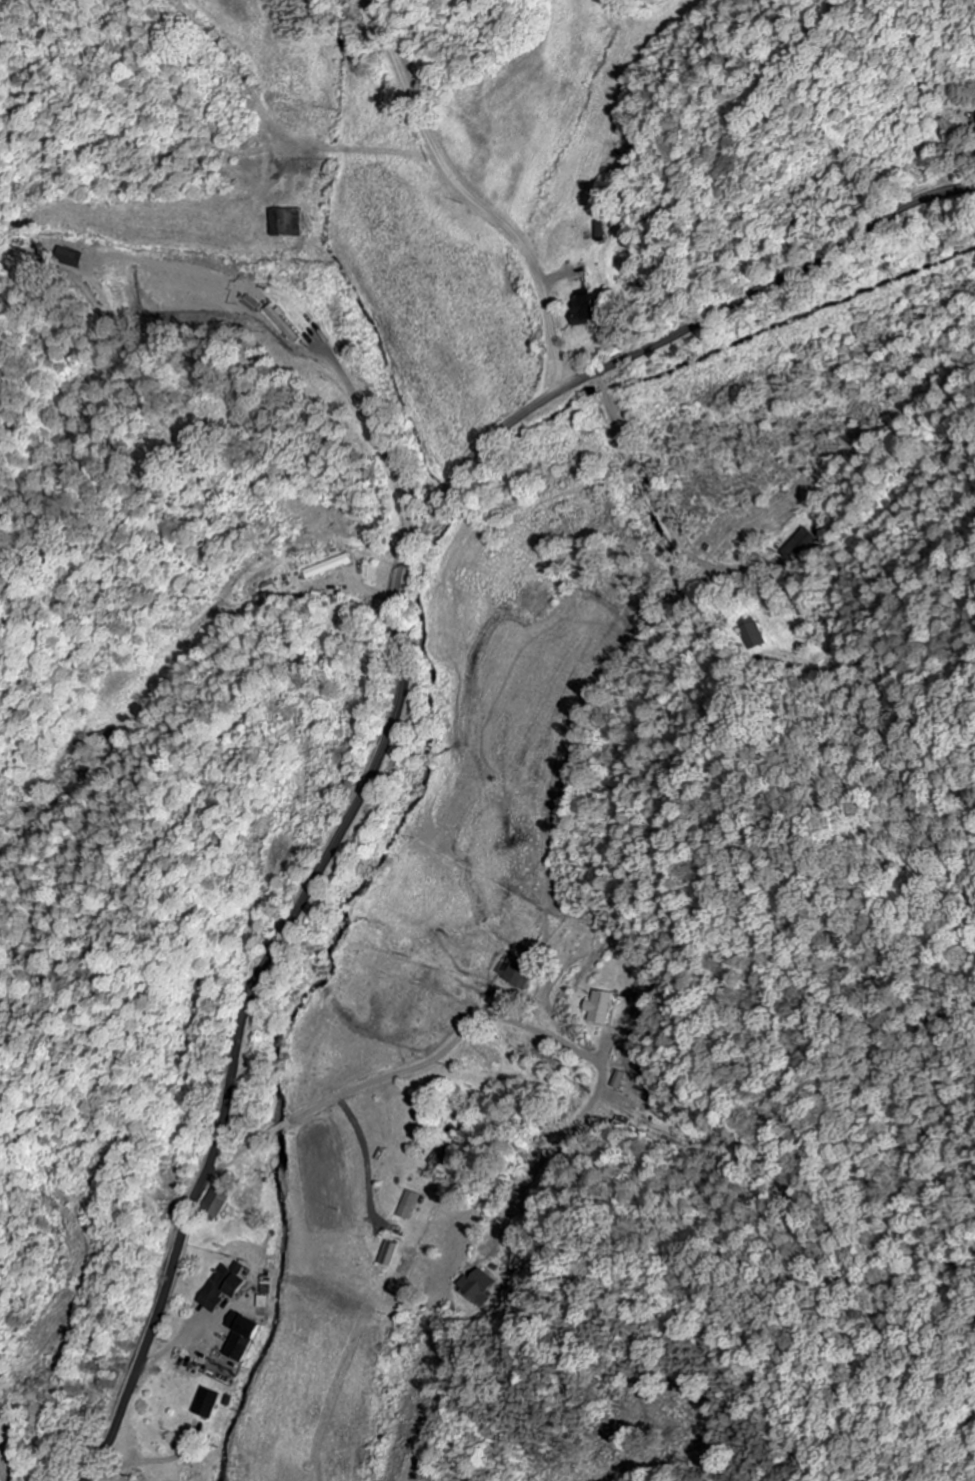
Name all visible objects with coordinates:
road: (460, 206)
building: (290, 222)
building: (605, 231)
building: (252, 303)
building: (591, 308)
building: (284, 323)
building: (802, 546)
building: (331, 566)
building: (748, 634)
road: (402, 705)
building: (518, 974)
building: (604, 1006)
building: (432, 1162)
building: (222, 1201)
building: (404, 1204)
building: (227, 1285)
building: (476, 1285)
building: (266, 1301)
building: (240, 1342)
building: (211, 1402)
park: (6, 1463)

